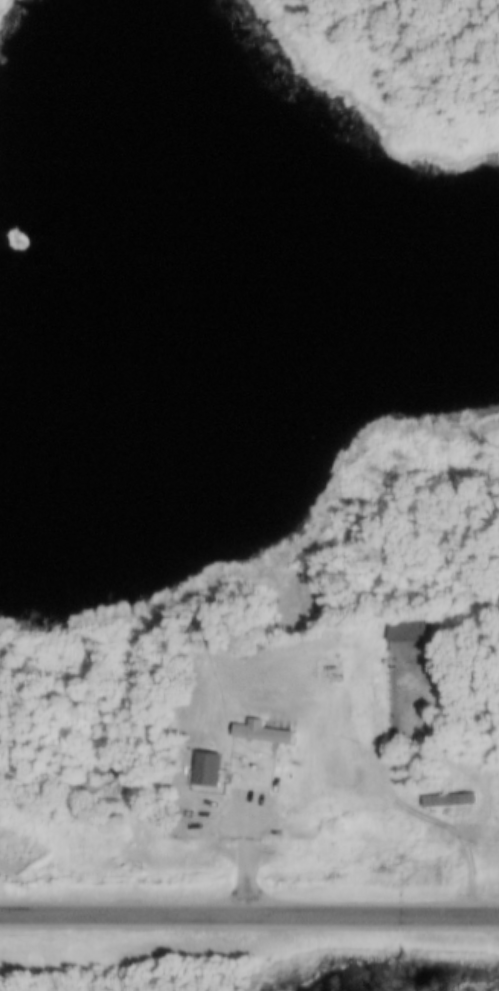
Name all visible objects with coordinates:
building: (410, 627)
building: (264, 729)
building: (208, 765)
building: (449, 795)
building: (189, 810)
road: (249, 917)

